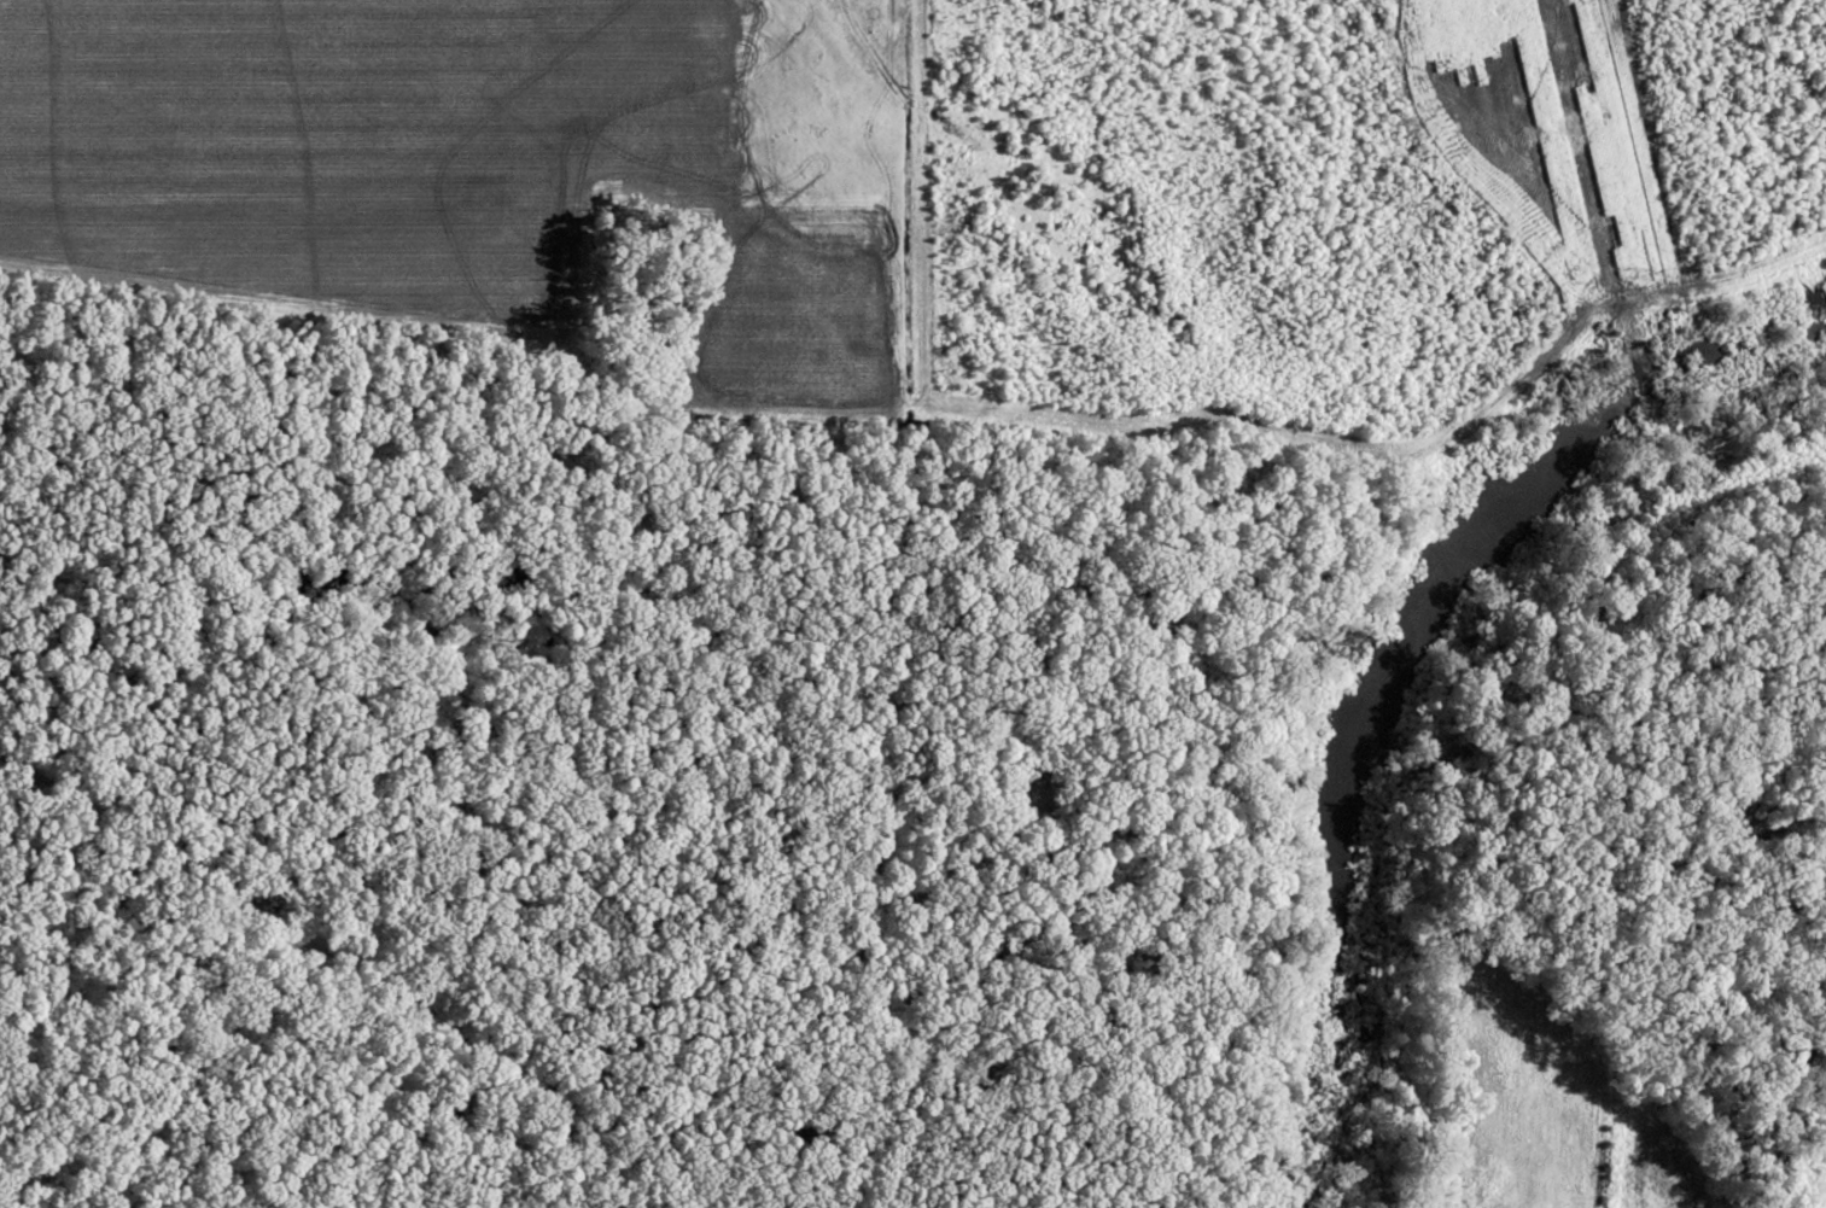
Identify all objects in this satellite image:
road: (336, 949)

